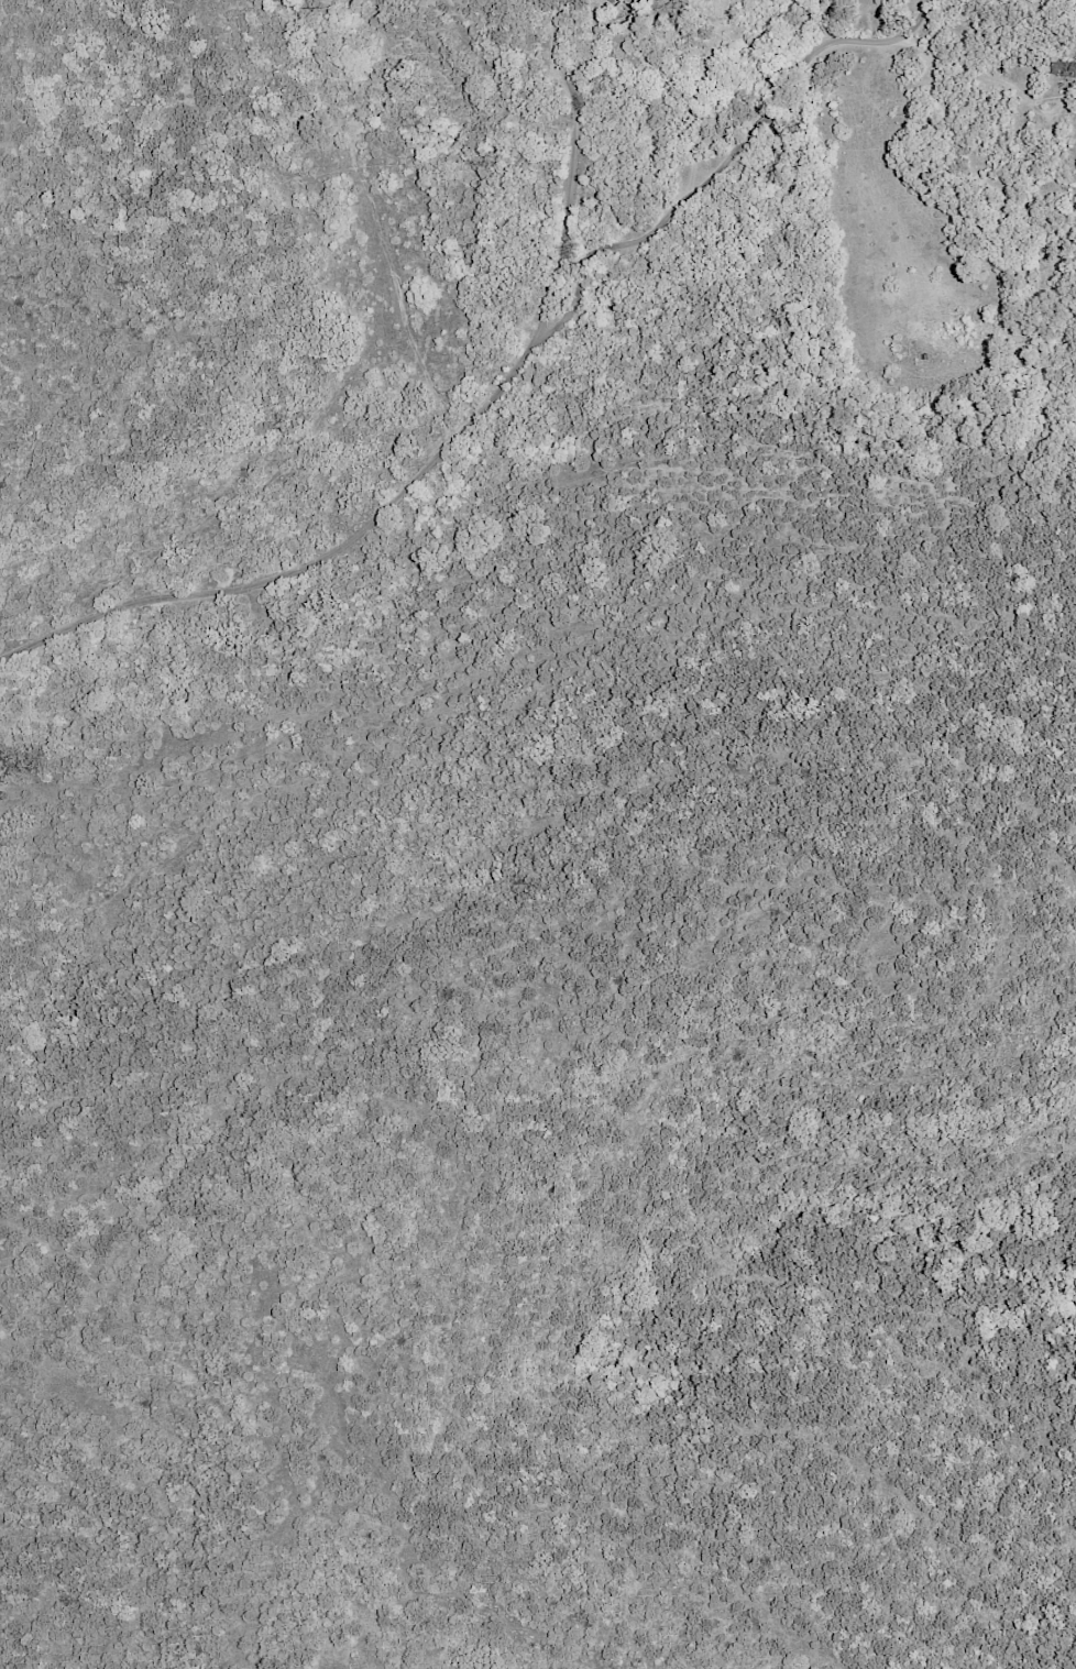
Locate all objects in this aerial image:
building: (1063, 67)
road: (724, 161)
road: (439, 453)

